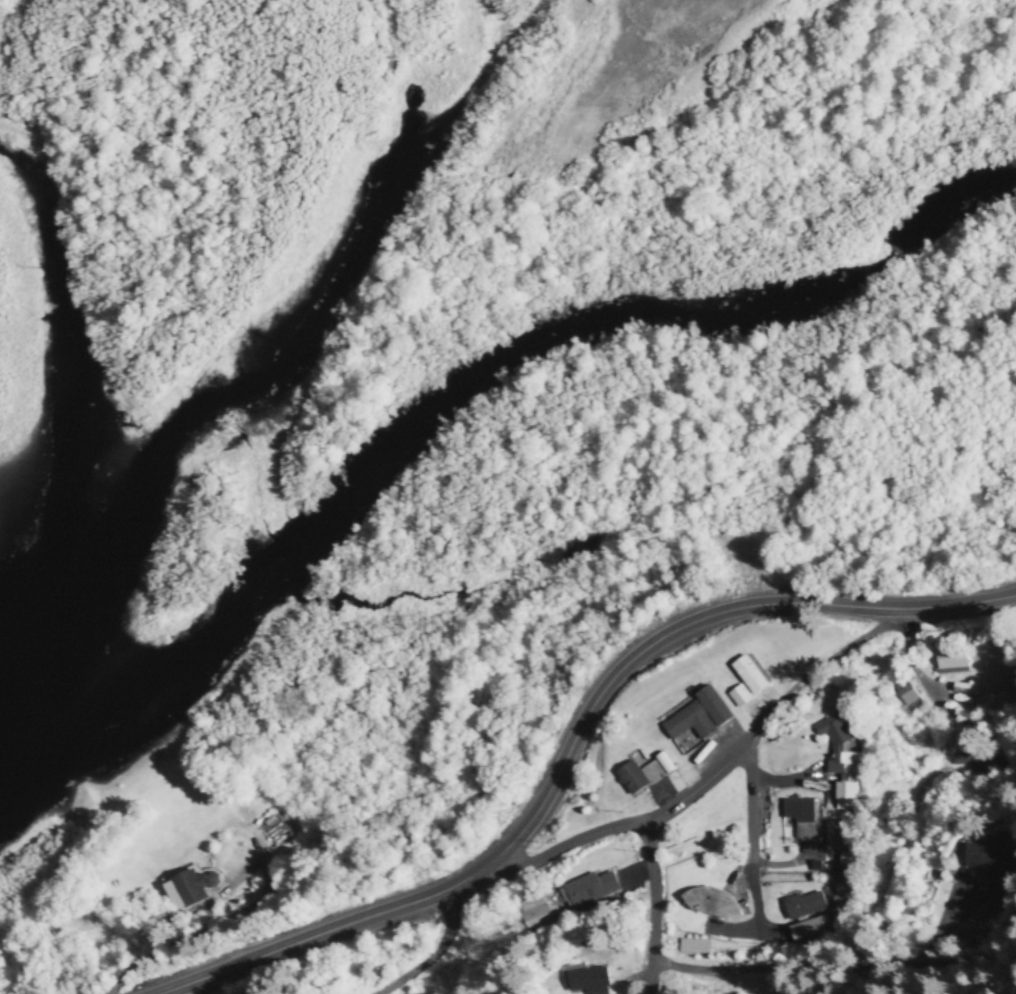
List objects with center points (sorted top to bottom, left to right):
building: (952, 662)
building: (748, 679)
building: (997, 685)
building: (908, 696)
building: (738, 700)
building: (712, 710)
building: (688, 727)
building: (835, 733)
road: (573, 734)
building: (962, 760)
road: (717, 769)
building: (639, 779)
building: (844, 785)
building: (797, 822)
road: (746, 845)
building: (992, 865)
building: (588, 892)
building: (838, 892)
building: (186, 893)
building: (710, 906)
building: (801, 908)
road: (651, 910)
building: (535, 920)
building: (805, 932)
building: (692, 951)
road: (834, 971)
building: (587, 983)

